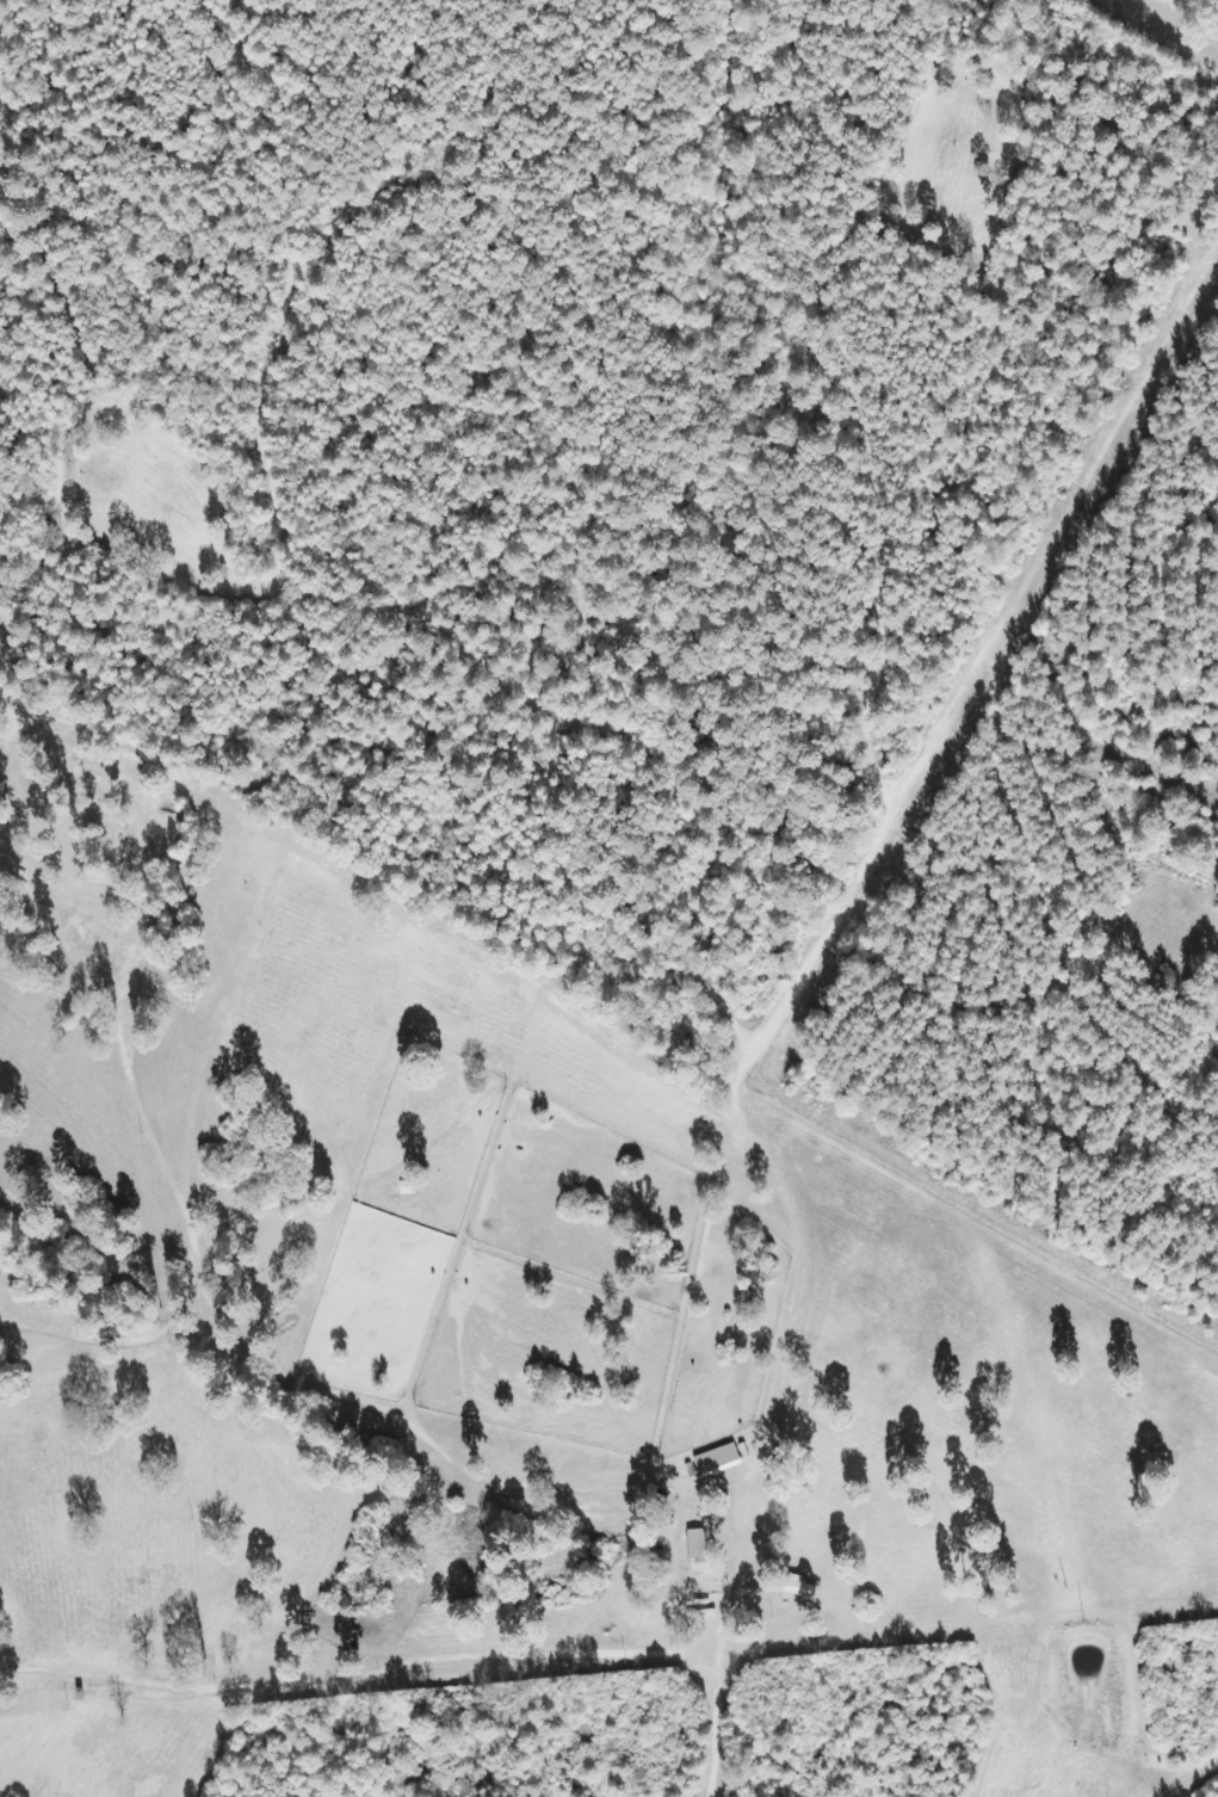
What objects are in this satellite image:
building: (712, 1461)
building: (693, 1544)

